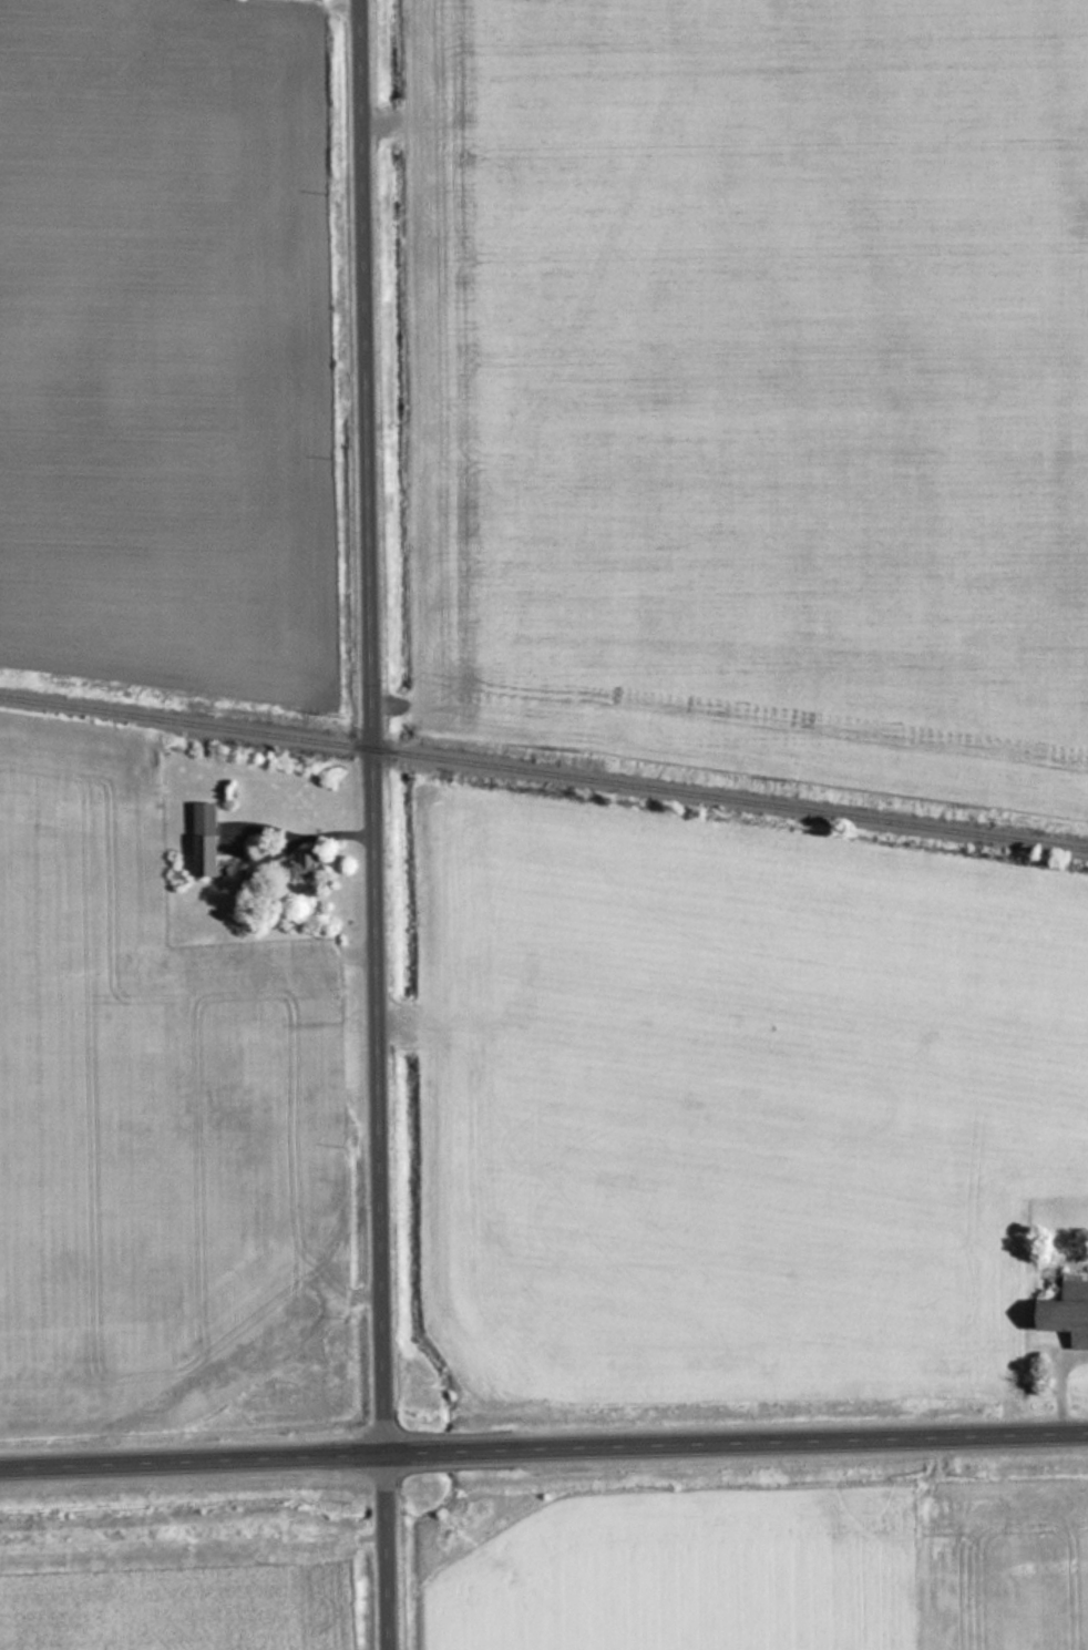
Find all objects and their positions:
road: (370, 726)
railway: (544, 772)
building: (209, 840)
building: (311, 863)
building: (1069, 1311)
road: (543, 1447)
road: (390, 1551)

